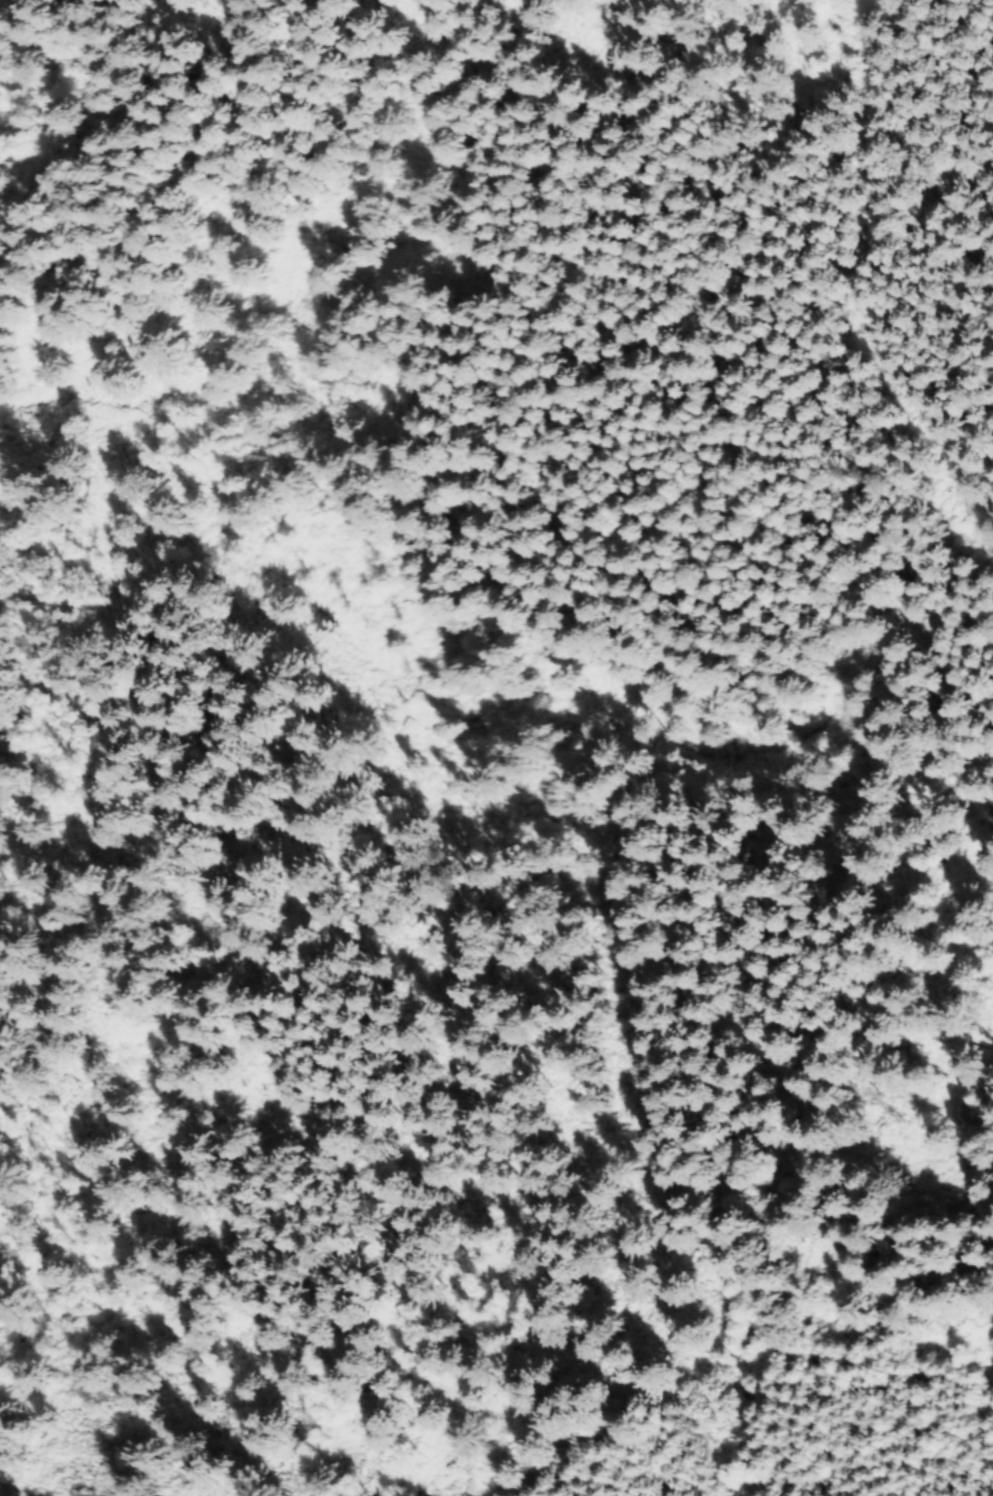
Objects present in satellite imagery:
road: (865, 292)

